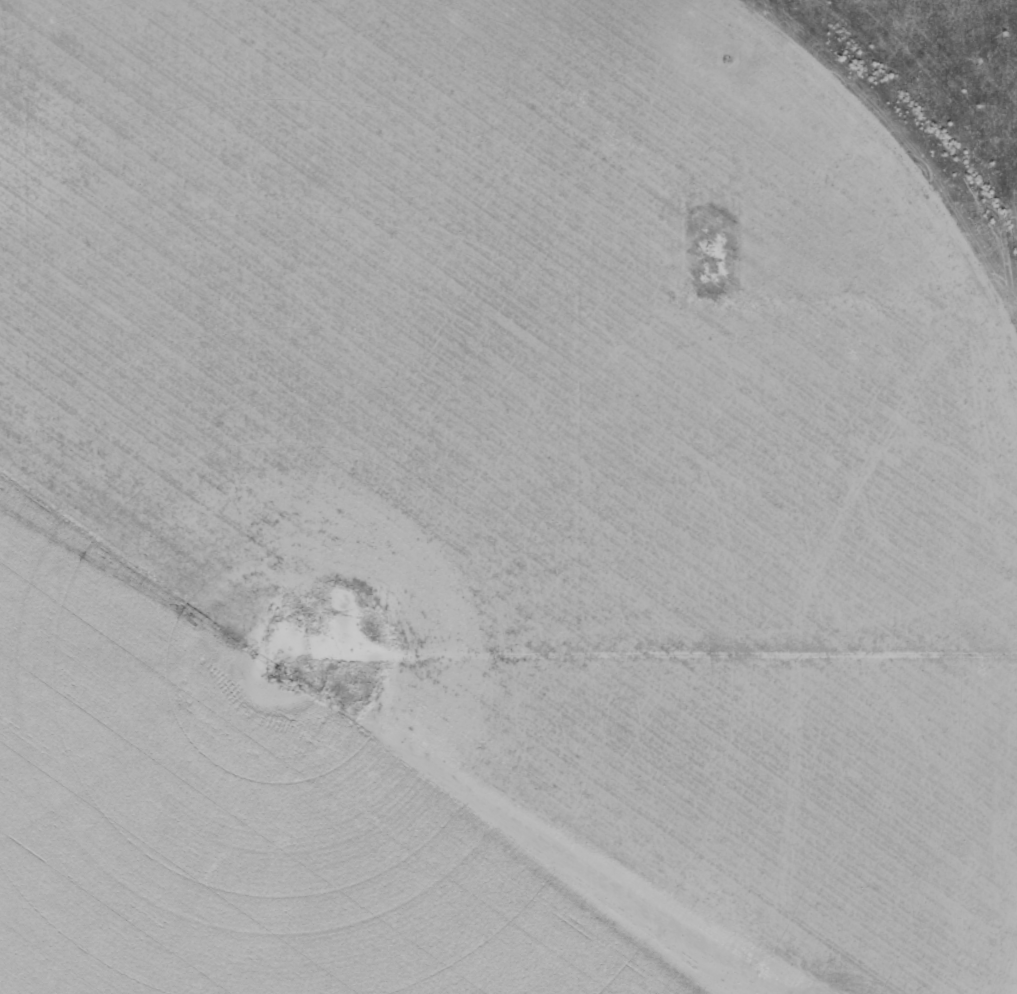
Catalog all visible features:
road: (702, 876)

